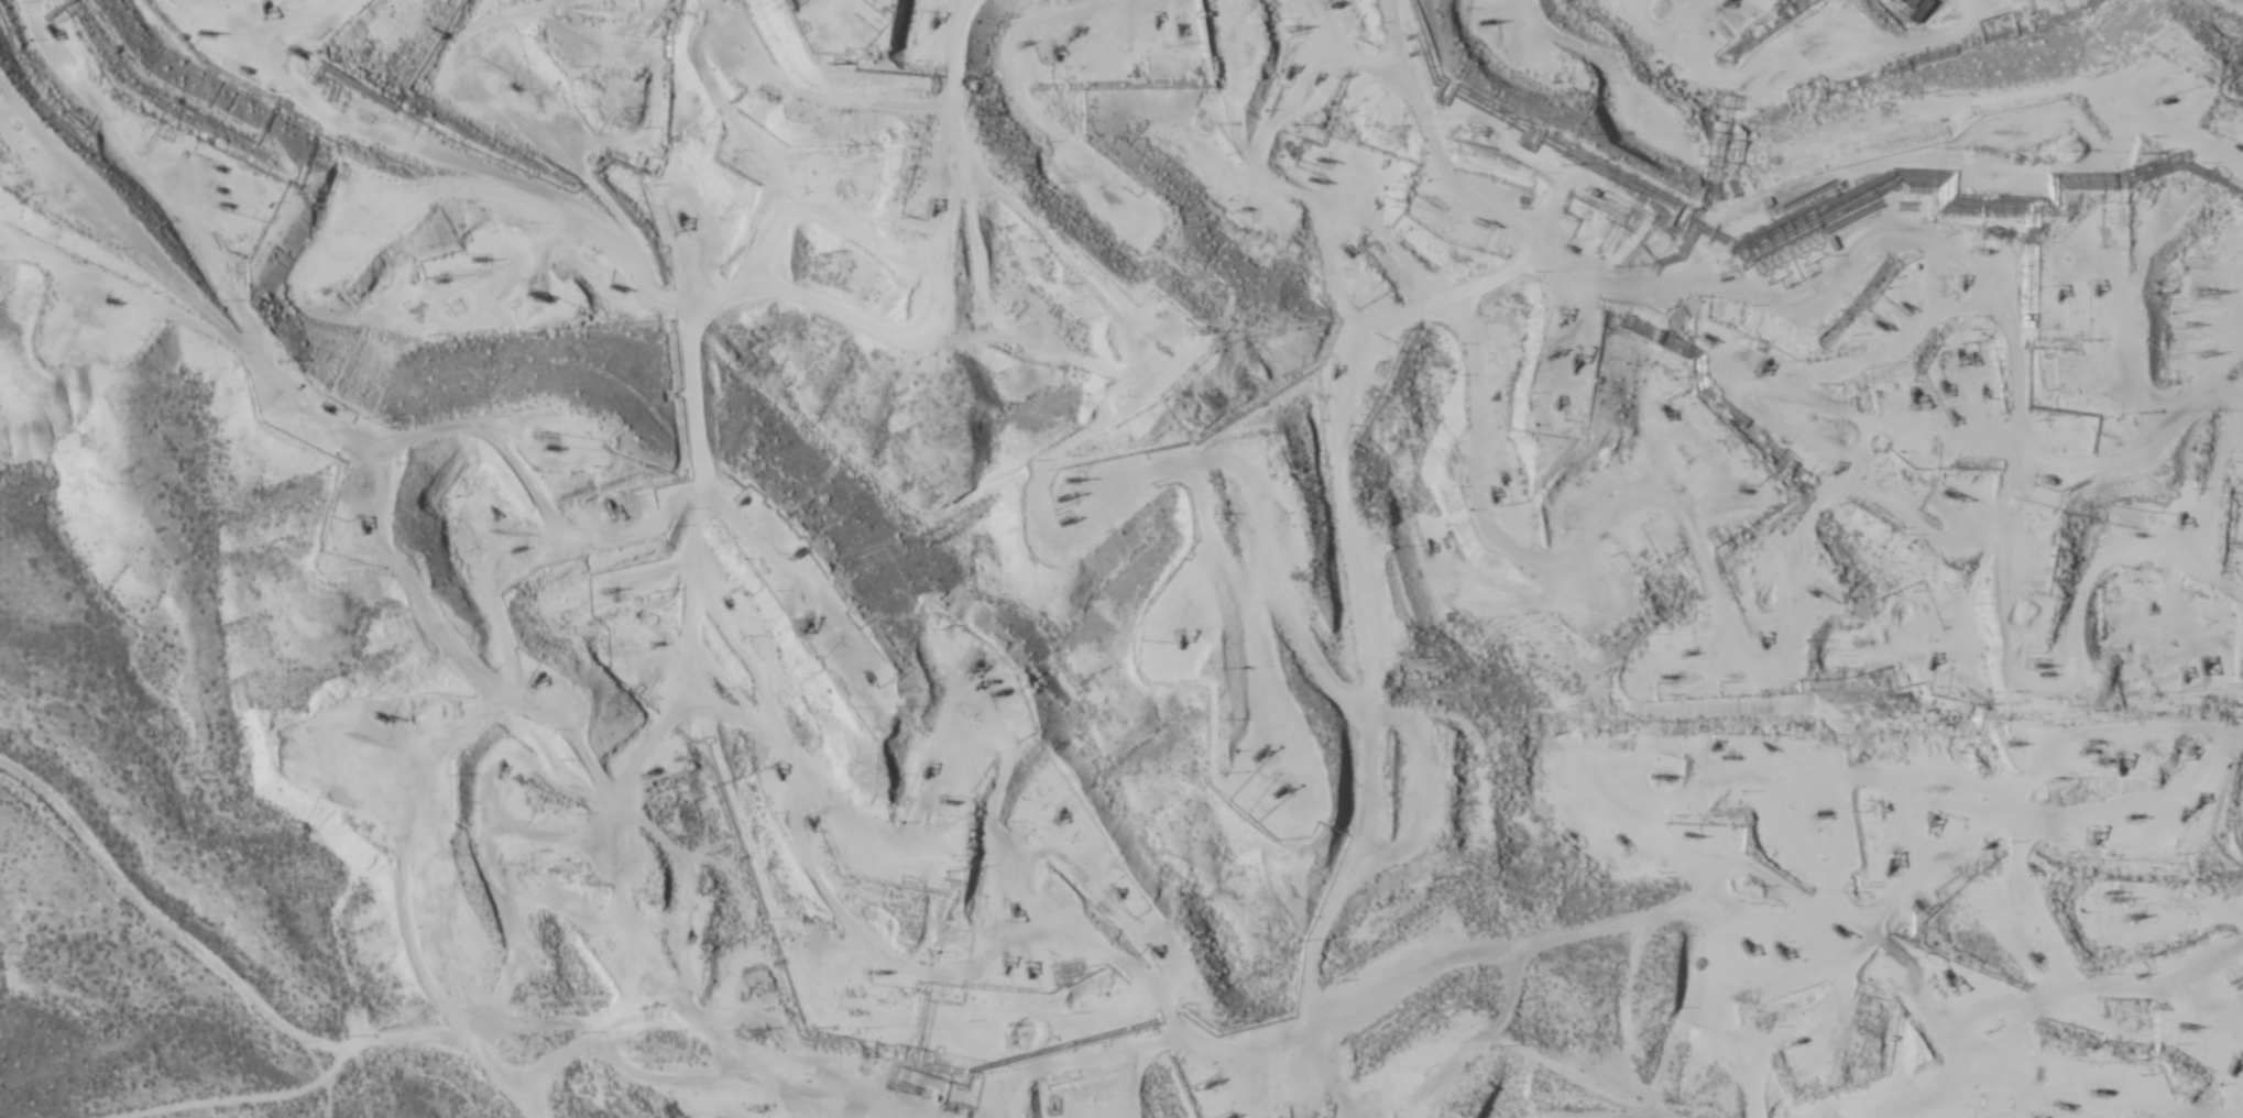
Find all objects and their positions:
building: (1934, 3)

